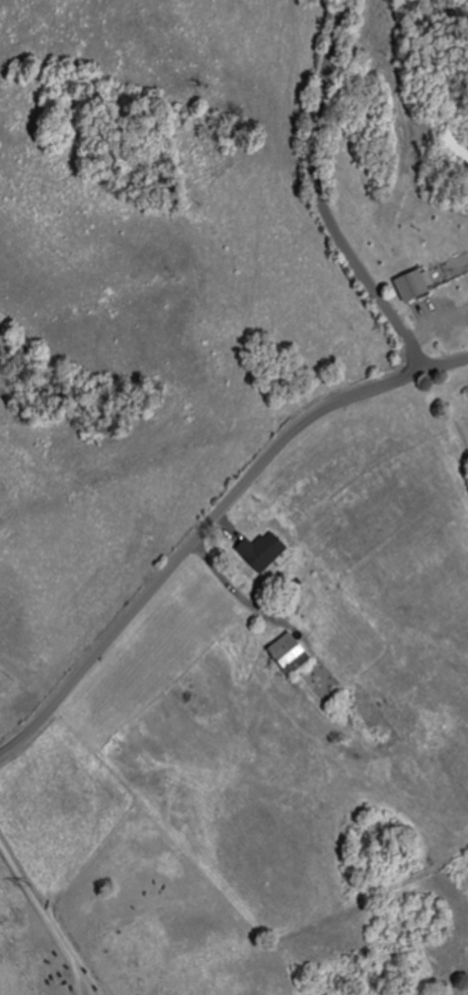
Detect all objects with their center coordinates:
road: (321, 198)
building: (412, 287)
road: (210, 520)
building: (291, 654)

